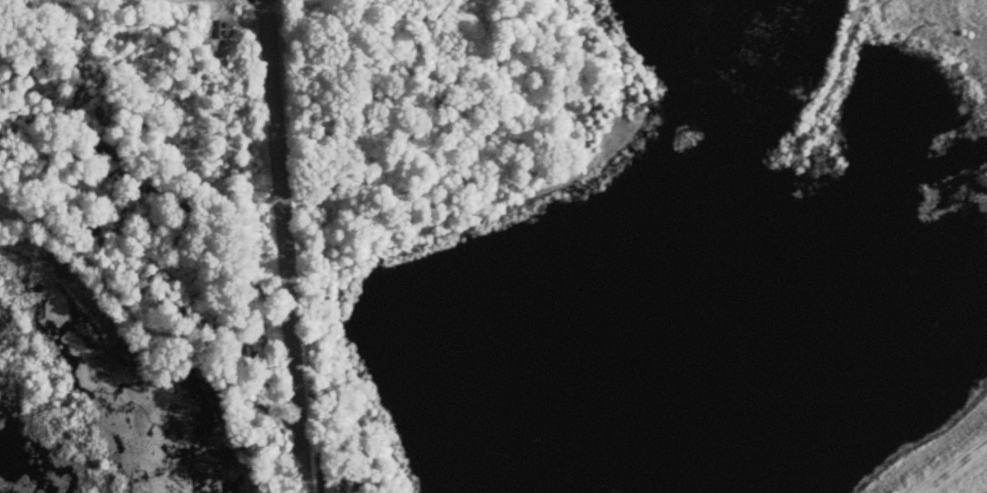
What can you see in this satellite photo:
road: (251, 0)
road: (98, 3)
road: (286, 246)
road: (950, 464)

